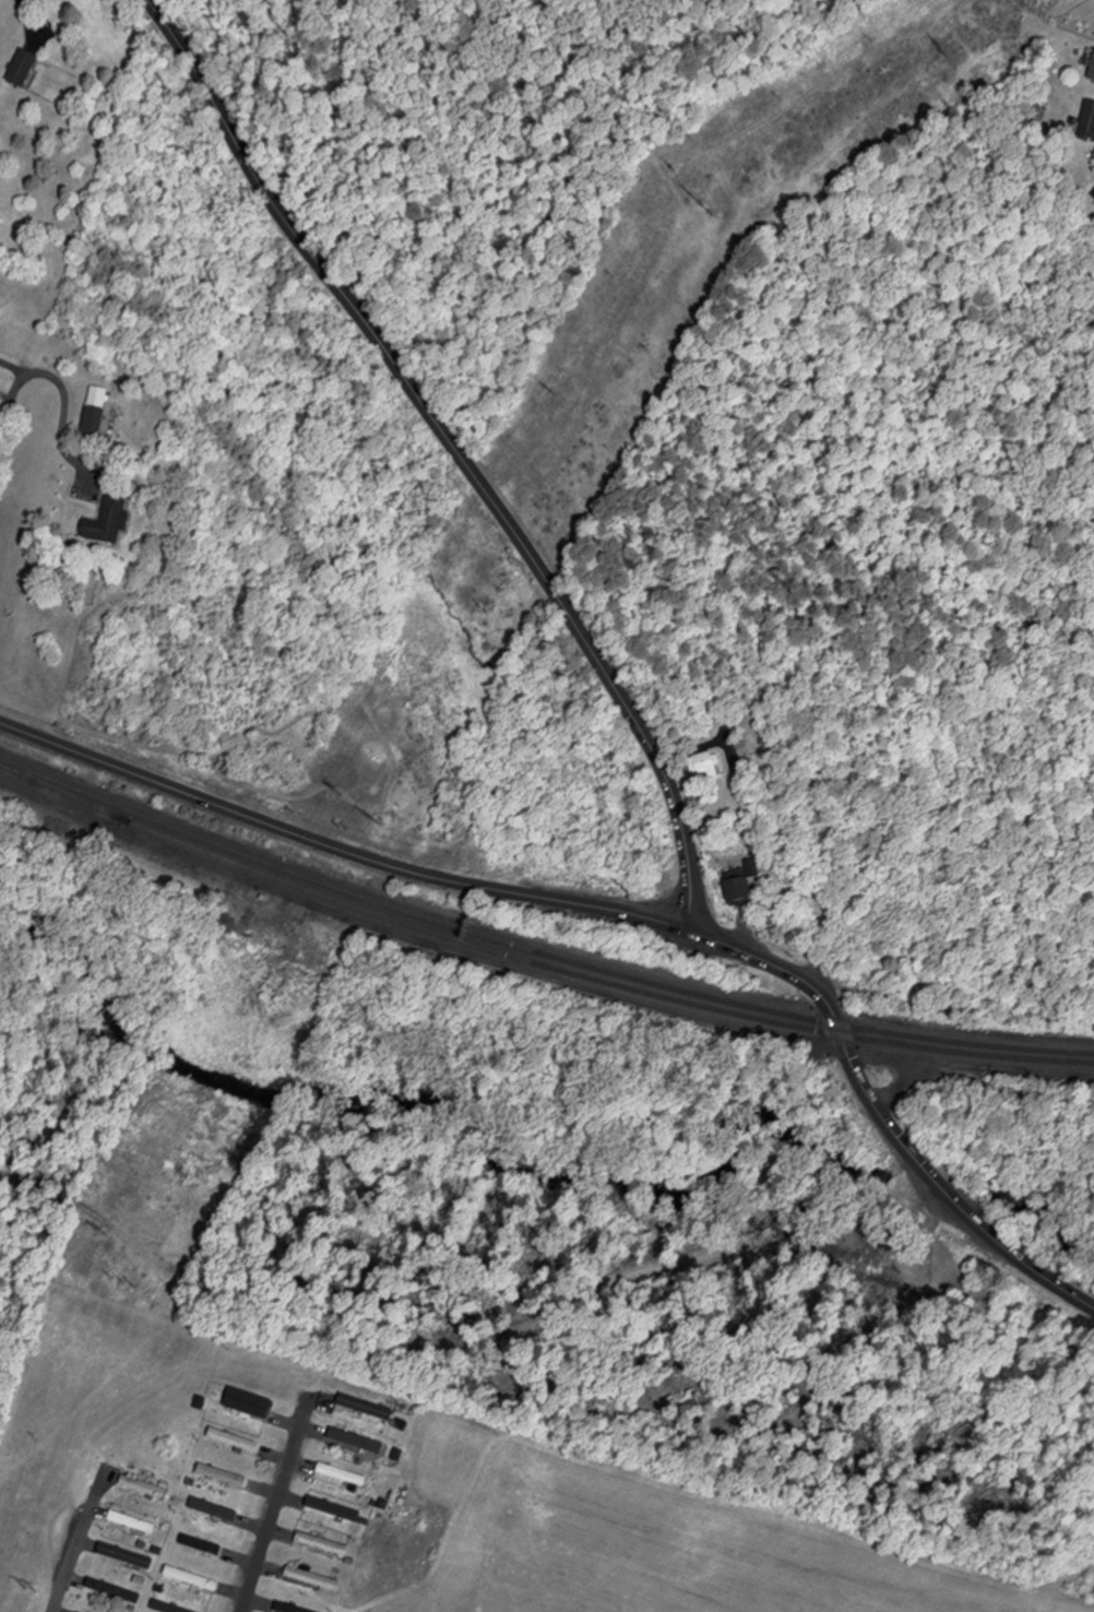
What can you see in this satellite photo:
power tower: (947, 50)
building: (22, 69)
building: (1092, 71)
building: (1089, 121)
building: (1093, 193)
power tower: (702, 205)
road: (8, 393)
road: (13, 403)
road: (67, 416)
building: (93, 424)
road: (457, 449)
building: (107, 523)
building: (705, 767)
railway: (64, 790)
railway: (64, 793)
power tower: (368, 819)
building: (741, 886)
road: (514, 891)
railway: (535, 949)
railway: (602, 980)
road: (980, 1082)
road: (948, 1188)
road: (1023, 1258)
power tower: (120, 1280)
building: (248, 1402)
building: (367, 1404)
building: (233, 1439)
building: (357, 1441)
building: (222, 1475)
building: (342, 1475)
building: (144, 1487)
road: (280, 1503)
building: (216, 1510)
building: (334, 1510)
building: (132, 1522)
road: (82, 1537)
building: (322, 1544)
building: (201, 1545)
building: (127, 1556)
building: (191, 1579)
building: (312, 1579)
power tower: (24, 1590)
building: (114, 1591)
building: (166, 1608)
building: (287, 1608)

